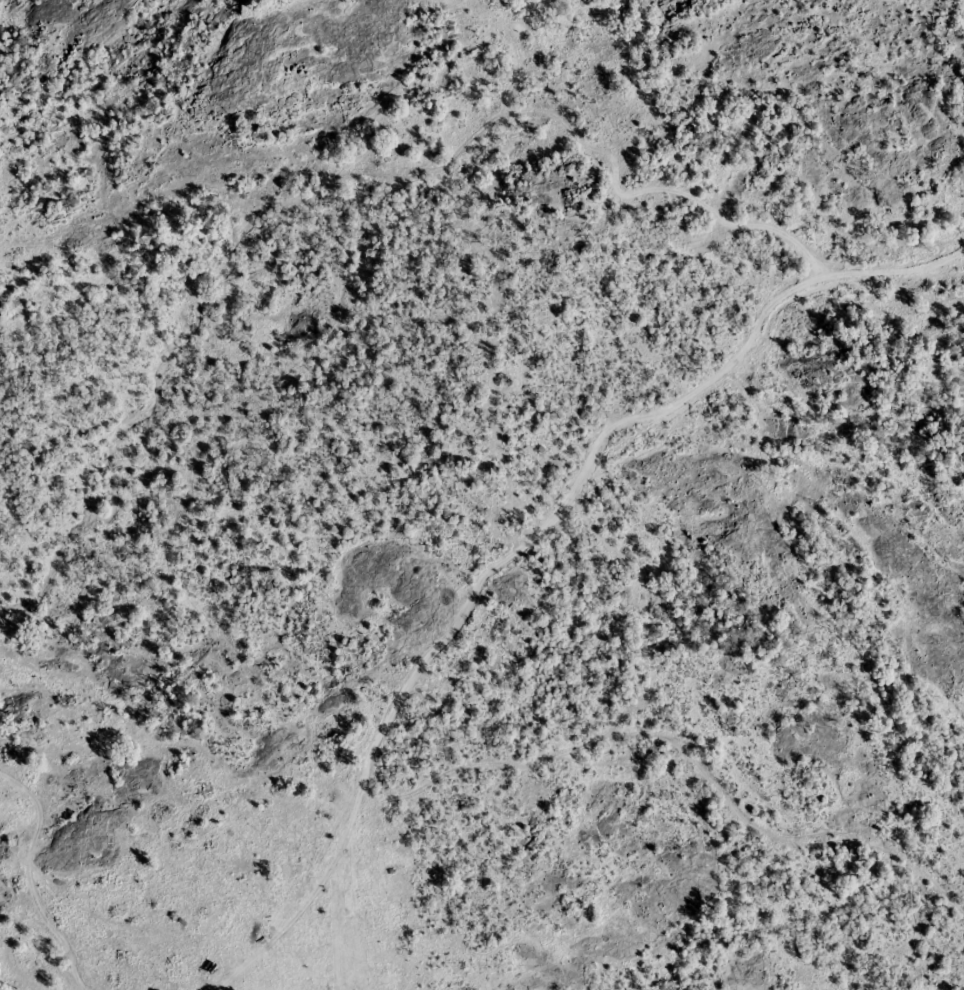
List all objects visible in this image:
road: (869, 269)
road: (463, 615)
road: (35, 881)

